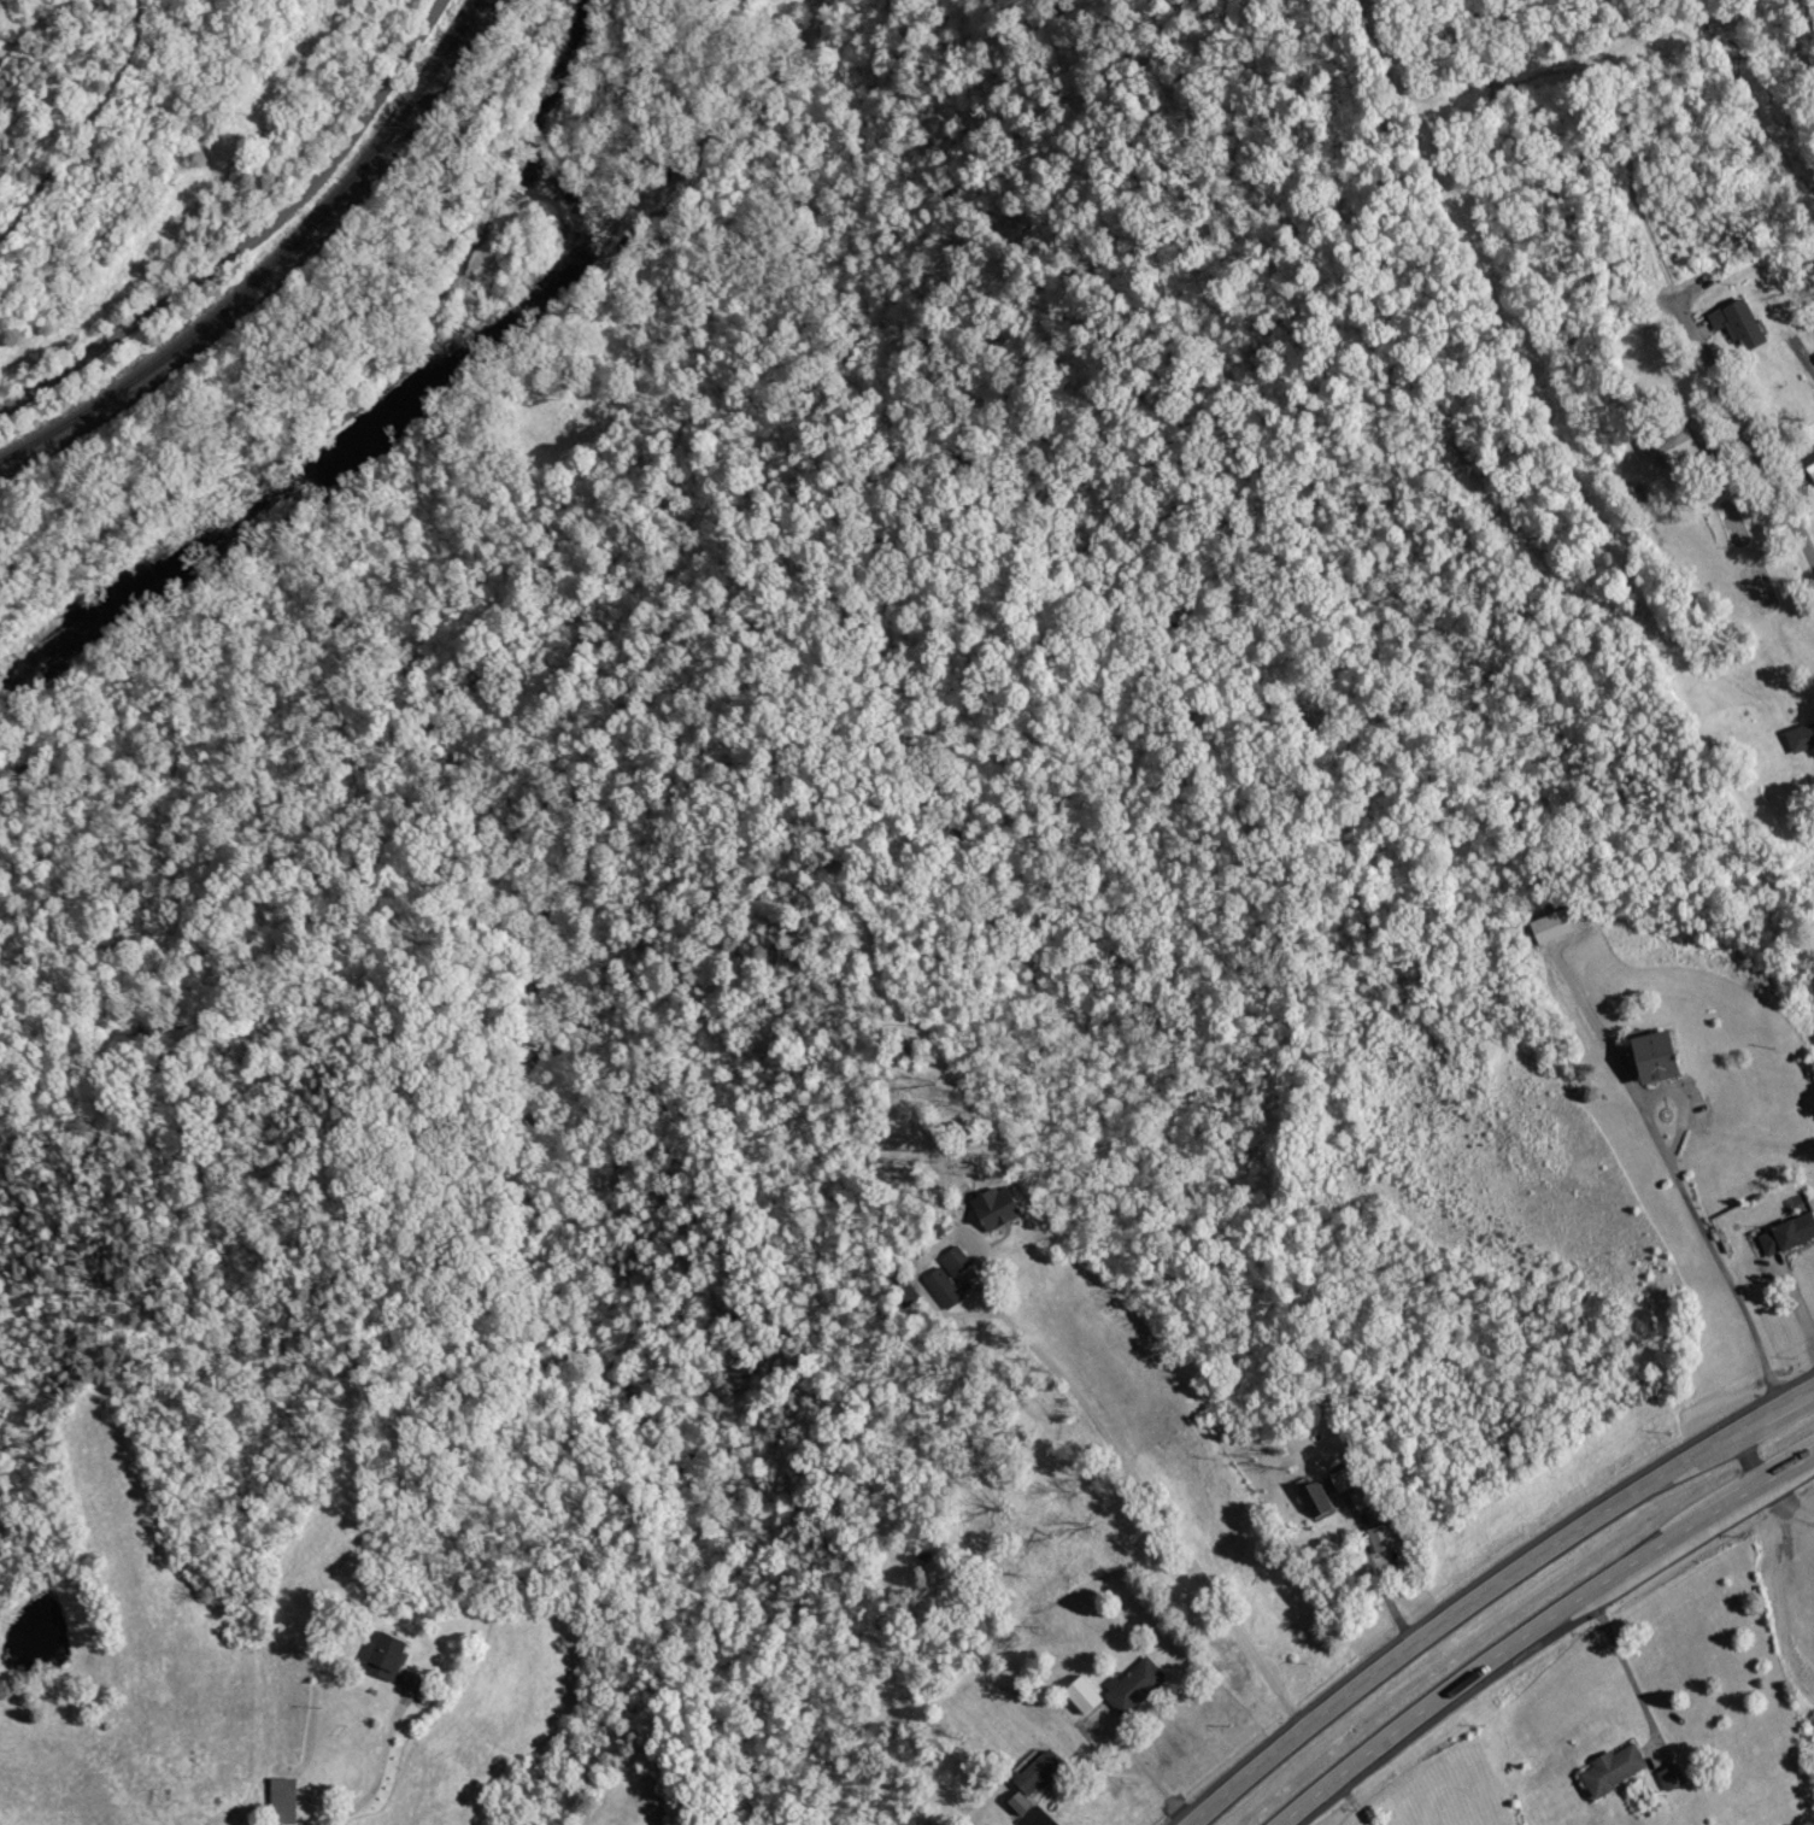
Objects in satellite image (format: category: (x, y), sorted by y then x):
road: (247, 233)
railway: (266, 257)
building: (1743, 323)
road: (1755, 435)
building: (1681, 448)
building: (1803, 738)
building: (1556, 926)
building: (1665, 1057)
building: (1002, 1208)
road: (1710, 1234)
building: (1789, 1236)
building: (957, 1261)
building: (945, 1289)
road: (1798, 1297)
road: (1742, 1461)
building: (1348, 1479)
road: (1756, 1485)
road: (1152, 1498)
building: (1317, 1501)
road: (1785, 1506)
building: (1380, 1530)
road: (1373, 1565)
road: (1491, 1586)
building: (392, 1655)
road: (1487, 1666)
road: (1630, 1674)
building: (1137, 1684)
building: (1087, 1694)
road: (393, 1762)
building: (1618, 1767)
road: (1152, 1770)
building: (1041, 1772)
building: (1675, 1777)
building: (287, 1800)
building: (1023, 1802)
road: (1355, 1802)

